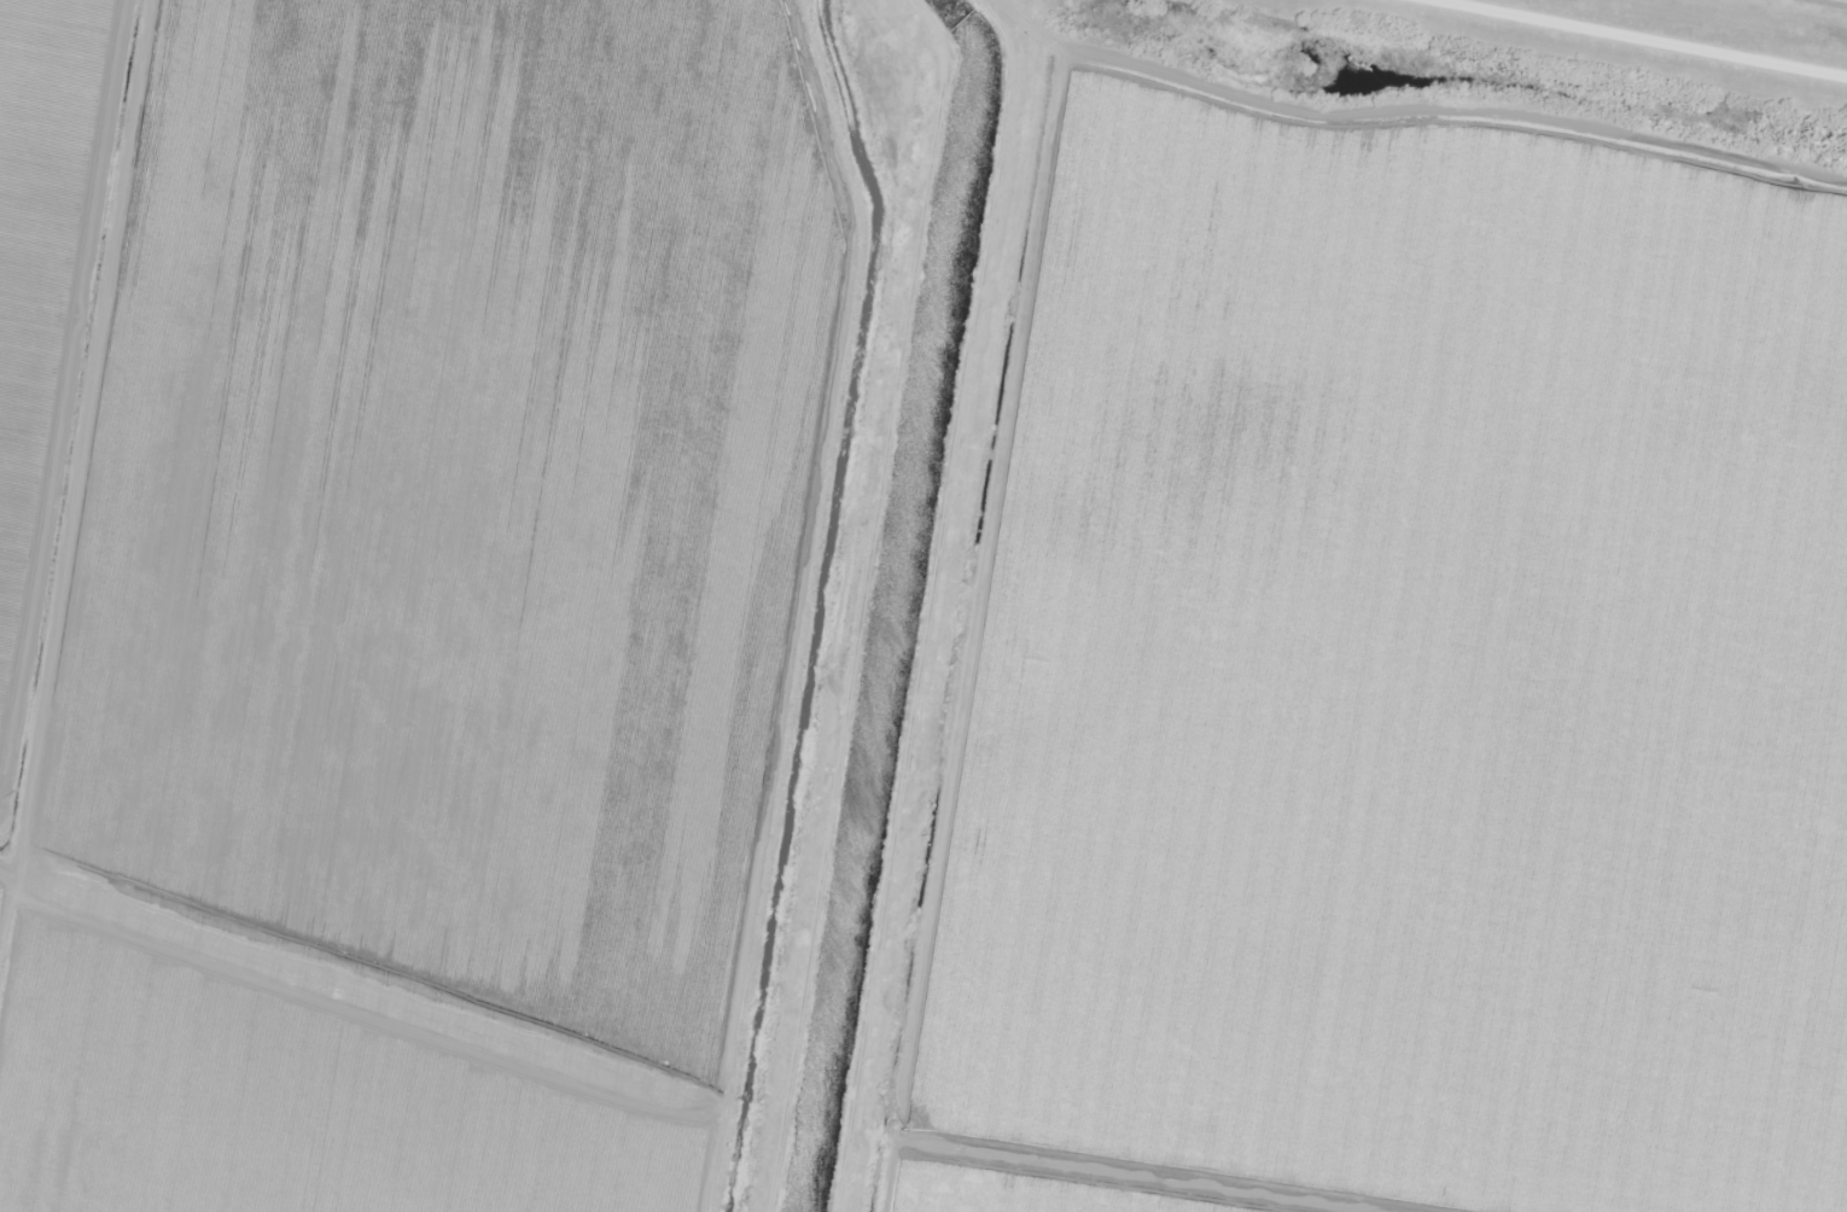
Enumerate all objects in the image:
road: (1670, 34)
road: (840, 601)

